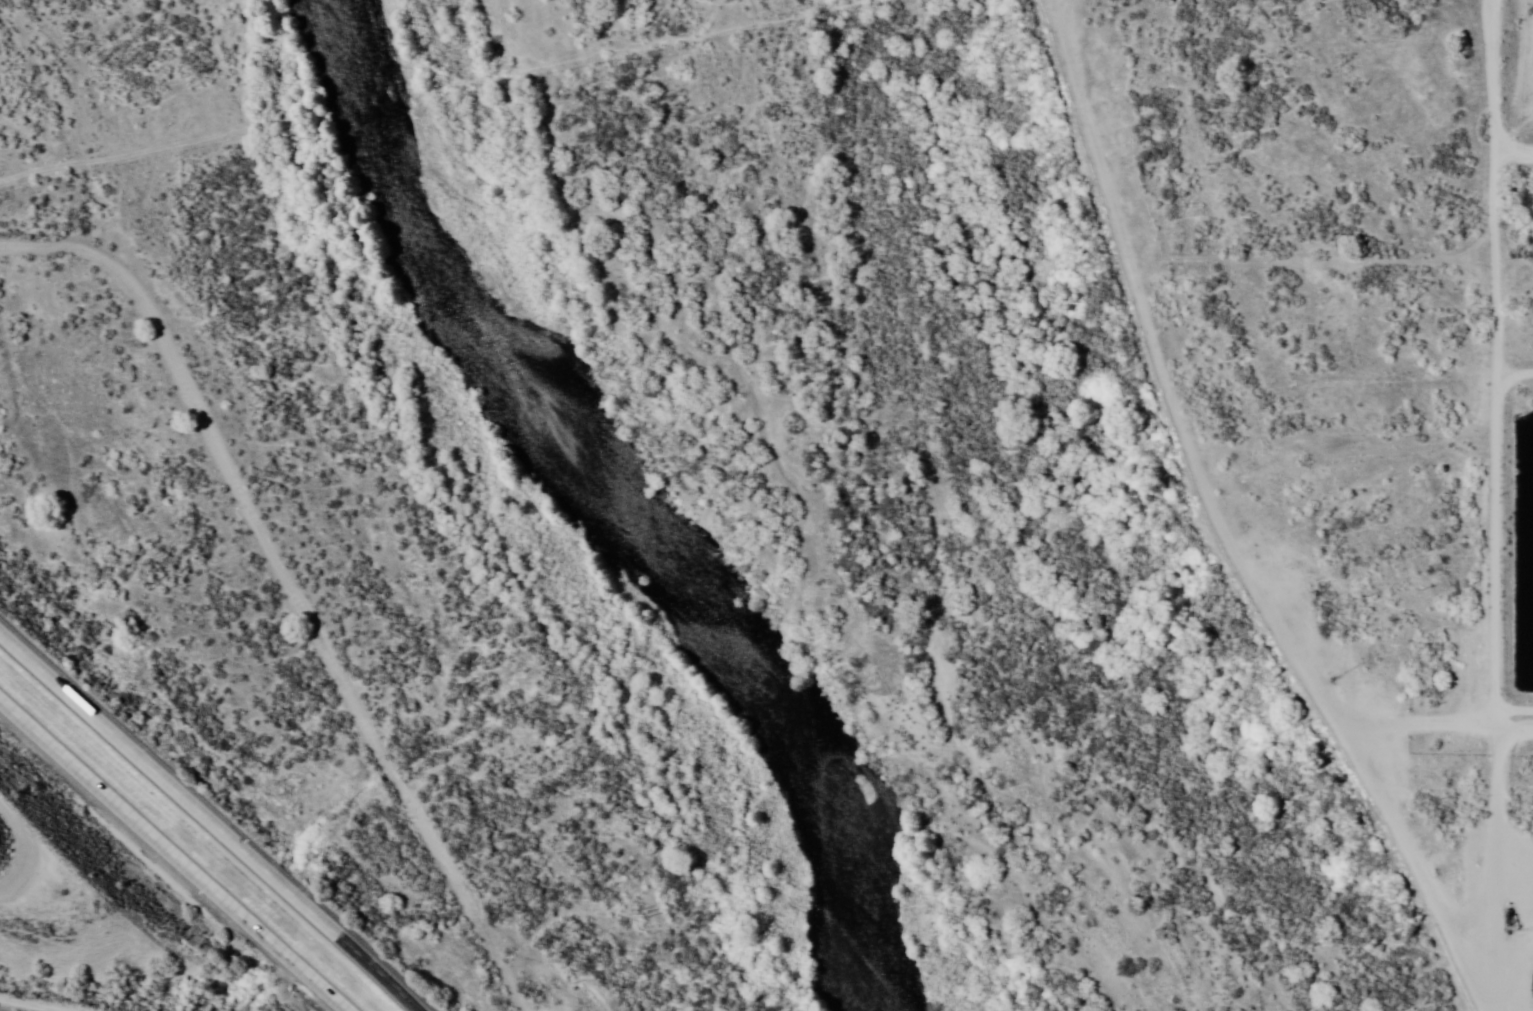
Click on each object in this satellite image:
road: (48, 47)
road: (1526, 80)
road: (1457, 126)
road: (1205, 245)
road: (19, 256)
road: (39, 318)
river: (607, 510)
road: (78, 572)
road: (1275, 572)
road: (277, 592)
road: (1487, 651)
road: (209, 822)
road: (1391, 847)
road: (19, 849)
road: (173, 855)
road: (1, 892)
road: (76, 997)
road: (155, 1009)

